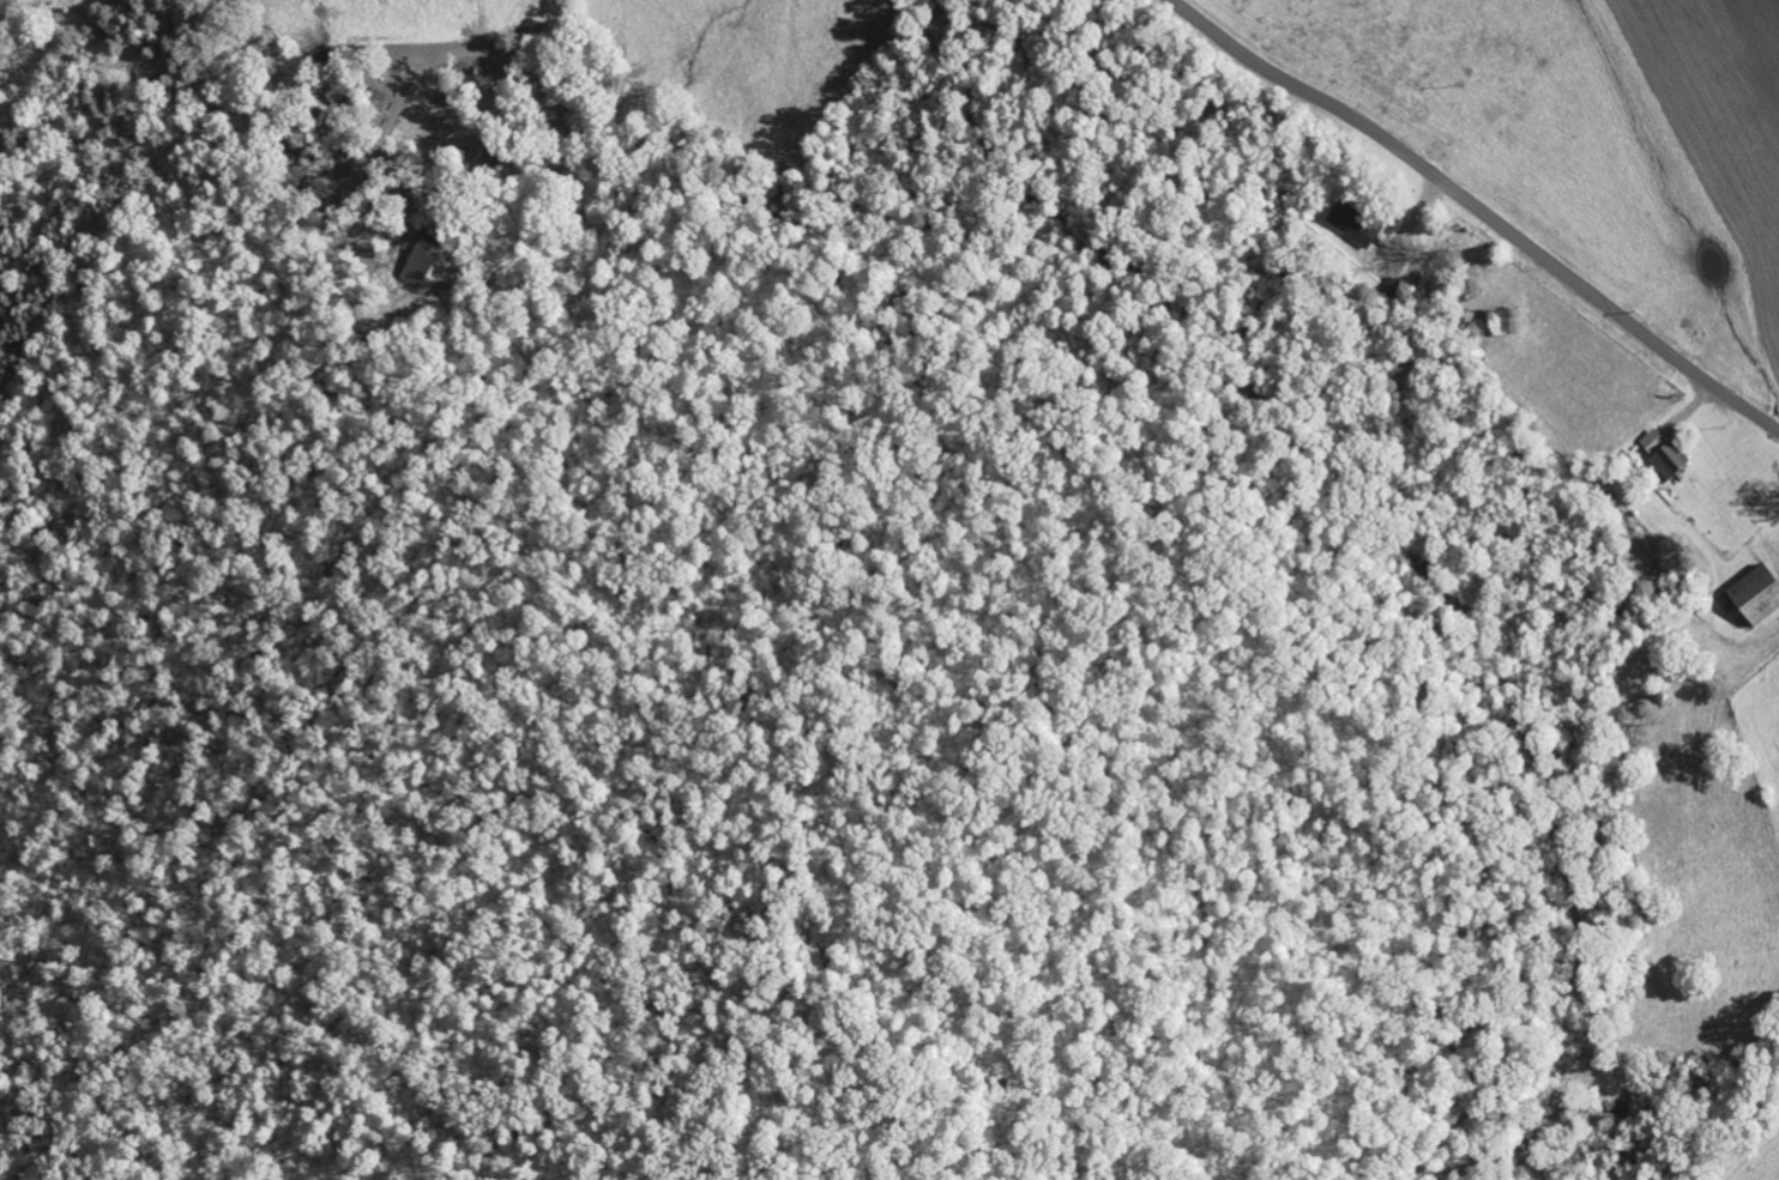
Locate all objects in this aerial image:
road: (1478, 210)
building: (1358, 225)
building: (423, 268)
building: (1668, 455)
building: (1761, 594)

